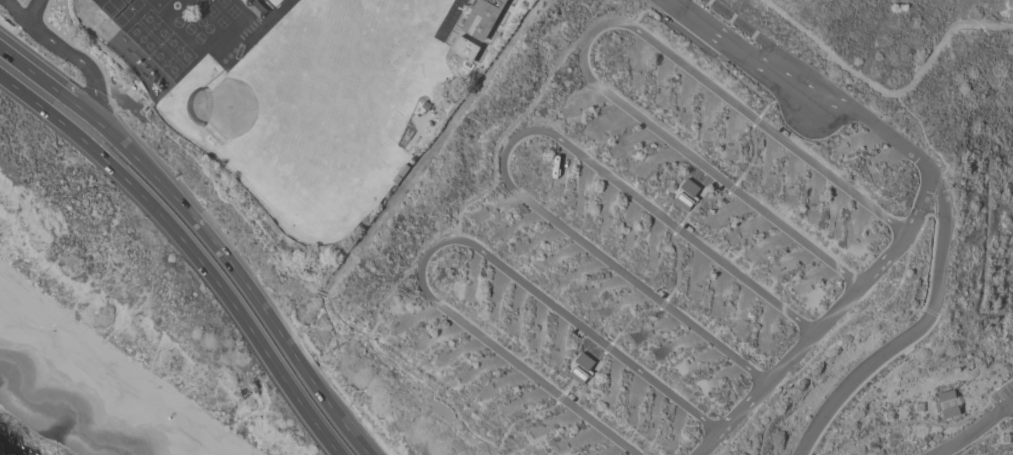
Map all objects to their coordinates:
road: (32, 7)
road: (15, 8)
building: (483, 17)
road: (592, 32)
road: (756, 36)
building: (465, 48)
road: (67, 49)
toll booth: (750, 66)
road: (48, 81)
road: (797, 81)
road: (889, 93)
road: (95, 105)
road: (511, 140)
building: (687, 194)
road: (451, 240)
road: (189, 247)
road: (242, 278)
road: (825, 323)
road: (922, 326)
building: (582, 368)
building: (946, 395)
road: (1007, 406)
building: (950, 412)
road: (969, 435)

